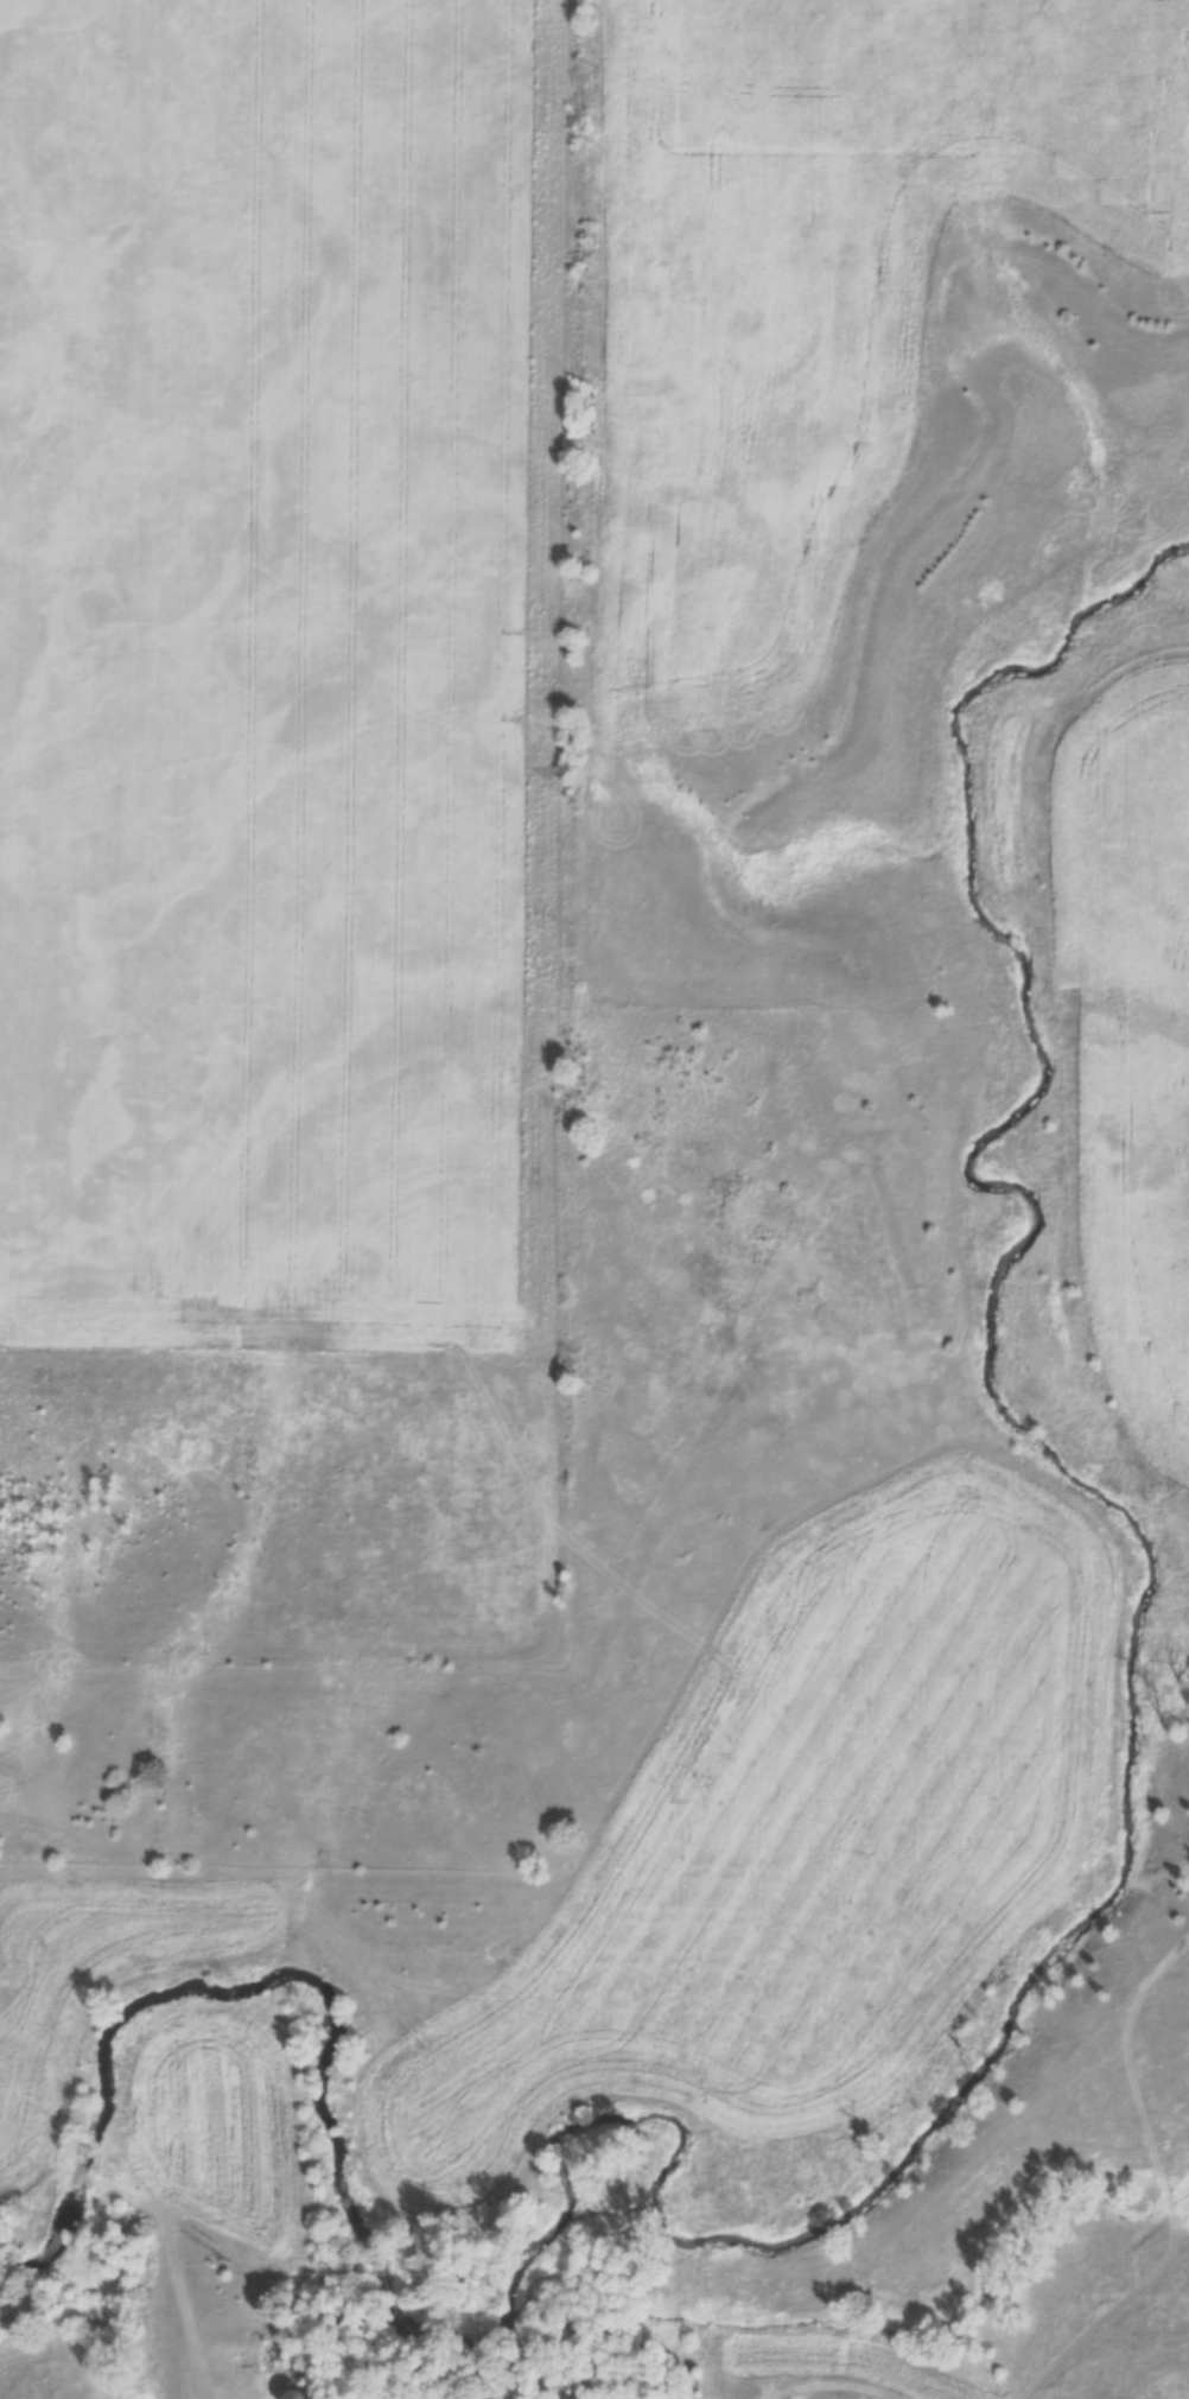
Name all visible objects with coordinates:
road: (965, 2378)
building: (293, 2395)

